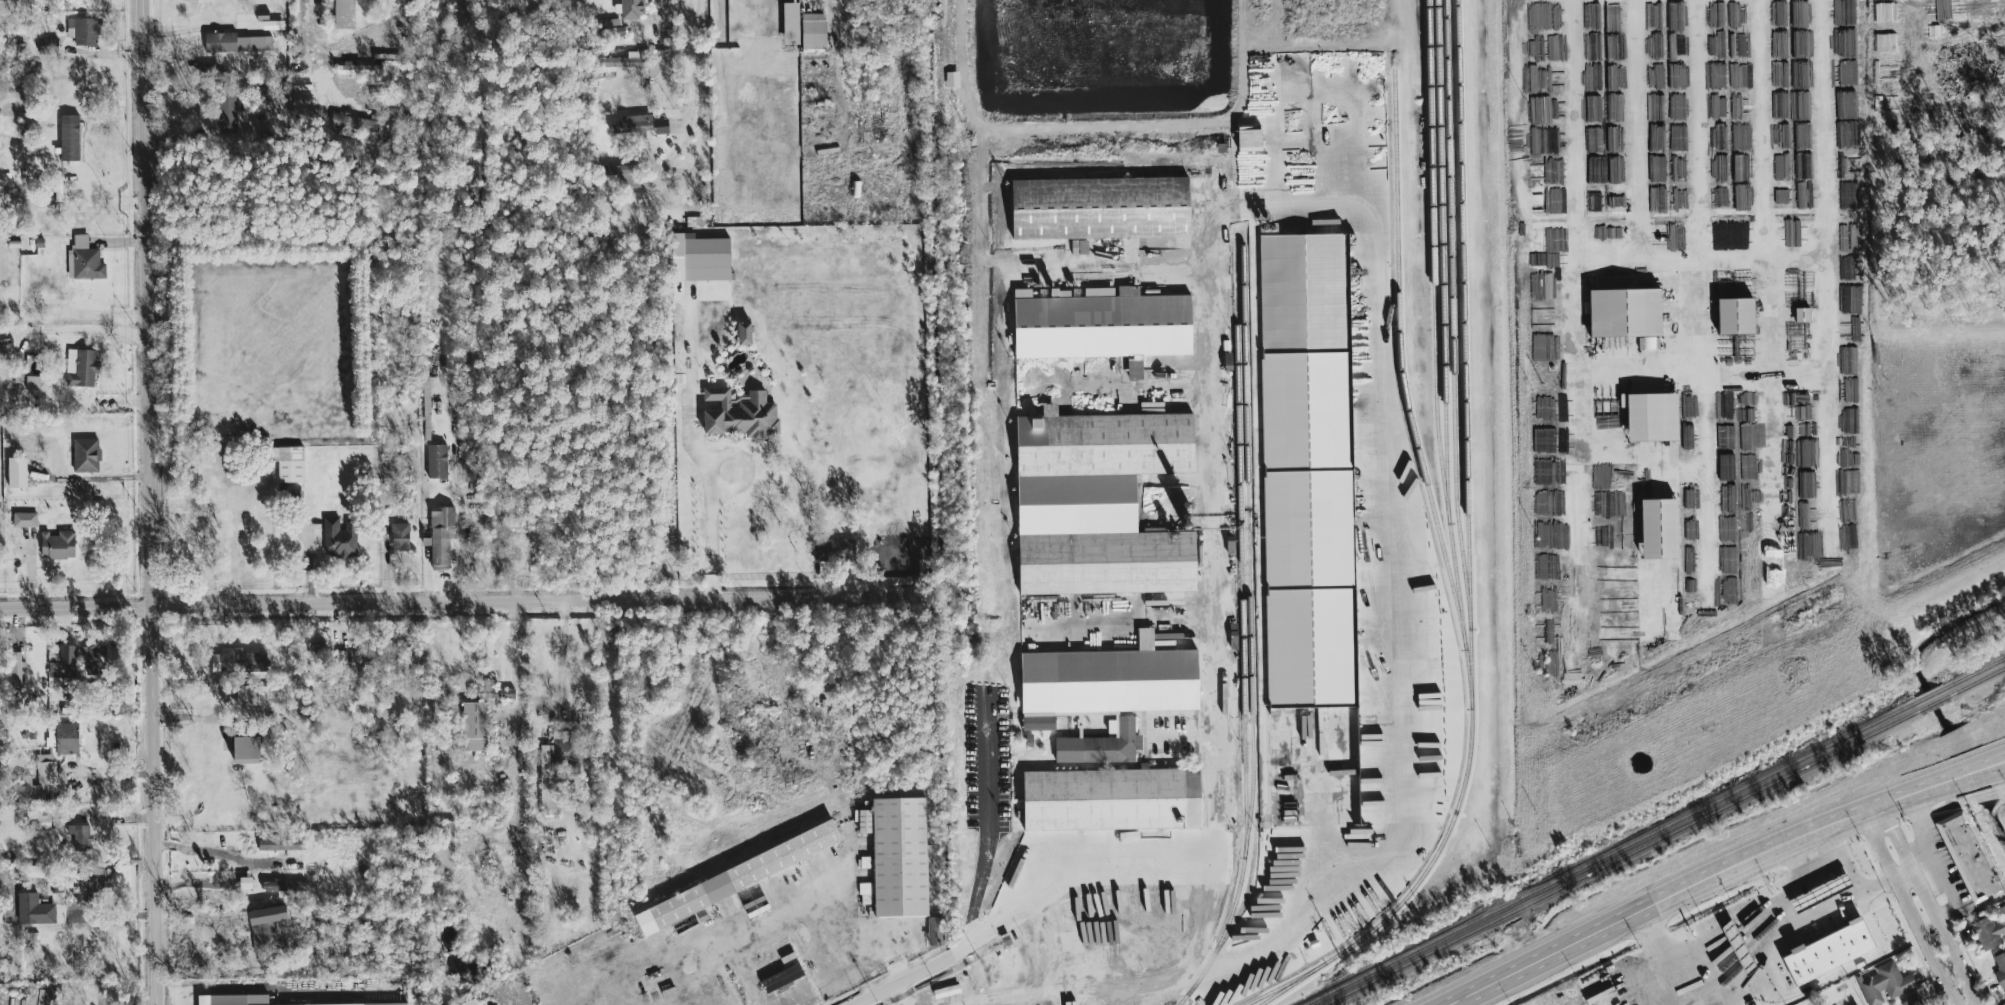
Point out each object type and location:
building: (204, 1)
road: (759, 1)
building: (634, 9)
building: (346, 15)
building: (793, 23)
building: (83, 31)
building: (815, 31)
road: (310, 34)
building: (238, 43)
building: (627, 66)
building: (359, 69)
road: (693, 92)
building: (230, 114)
building: (356, 123)
road: (1576, 123)
road: (1637, 123)
building: (635, 124)
road: (1701, 124)
road: (1761, 125)
building: (663, 126)
building: (71, 138)
building: (623, 175)
building: (1105, 208)
building: (2, 229)
road: (1681, 248)
building: (702, 258)
building: (85, 261)
building: (1629, 313)
building: (1740, 316)
road: (106, 325)
building: (1108, 326)
building: (748, 333)
building: (1648, 343)
building: (82, 368)
building: (1035, 379)
road: (1691, 380)
building: (34, 382)
building: (429, 403)
building: (743, 414)
building: (1656, 417)
building: (87, 455)
building: (438, 461)
building: (291, 464)
building: (1309, 471)
building: (19, 473)
building: (1092, 496)
road: (149, 502)
building: (26, 517)
building: (1664, 529)
road: (461, 533)
road: (710, 534)
building: (443, 536)
building: (401, 537)
building: (340, 538)
building: (60, 546)
building: (836, 549)
building: (1775, 560)
road: (1467, 593)
road: (458, 602)
road: (1235, 638)
building: (95, 661)
building: (240, 662)
building: (66, 664)
building: (18, 670)
road: (562, 670)
building: (1110, 694)
building: (251, 697)
road: (516, 718)
building: (477, 727)
building: (69, 738)
building: (251, 749)
road: (87, 773)
building: (46, 776)
building: (551, 797)
building: (1102, 799)
building: (45, 823)
railway: (1654, 831)
railway: (1663, 836)
building: (84, 838)
building: (282, 844)
road: (1834, 849)
building: (902, 857)
building: (1969, 857)
road: (1727, 873)
building: (741, 876)
road: (1857, 879)
building: (248, 882)
building: (285, 886)
road: (1806, 886)
building: (92, 887)
road: (1033, 899)
building: (29, 907)
building: (1825, 907)
road: (1919, 907)
road: (795, 908)
road: (103, 917)
road: (199, 919)
building: (937, 930)
building: (1990, 931)
building: (269, 935)
building: (1833, 951)
building: (2001, 969)
road: (904, 975)
building: (783, 978)
road: (1051, 981)
building: (1886, 983)
road: (173, 995)
building: (257, 1000)
building: (1916, 1001)

